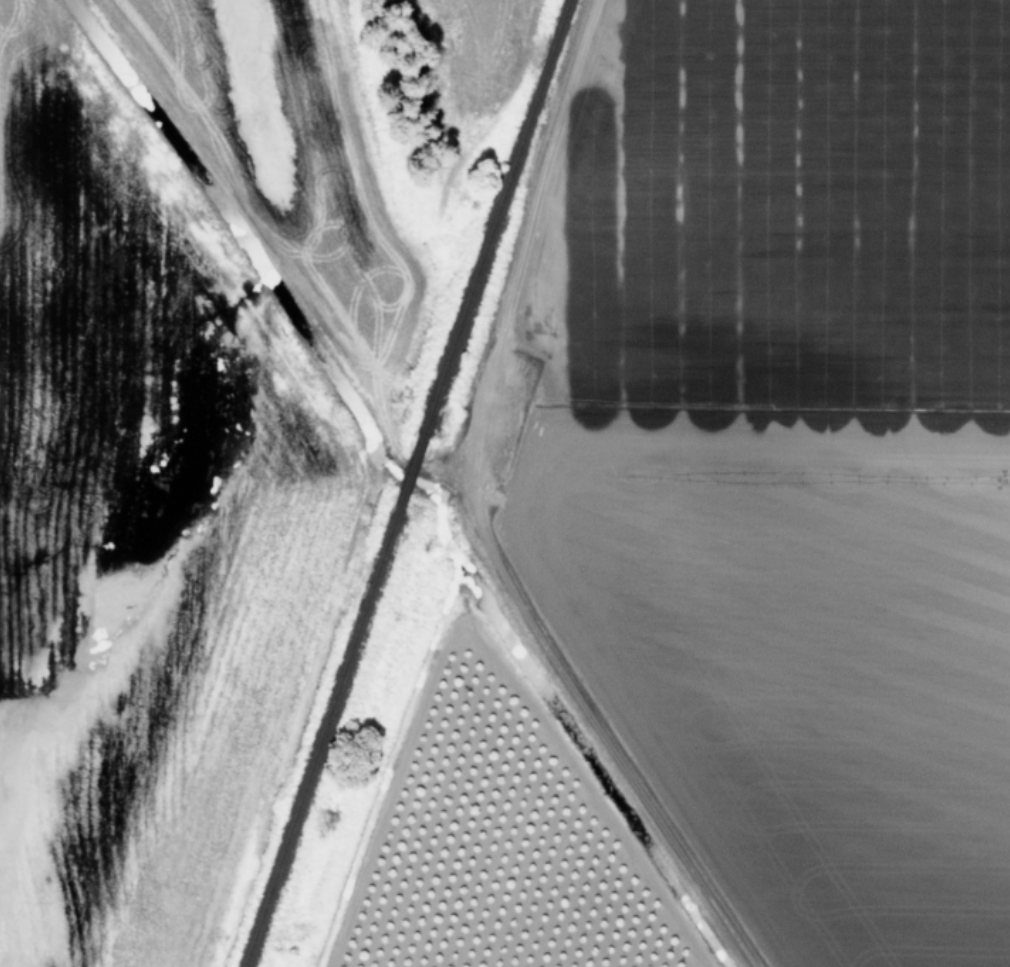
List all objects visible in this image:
railway: (499, 217)
crop: (505, 483)
railway: (411, 488)
railway: (322, 754)

